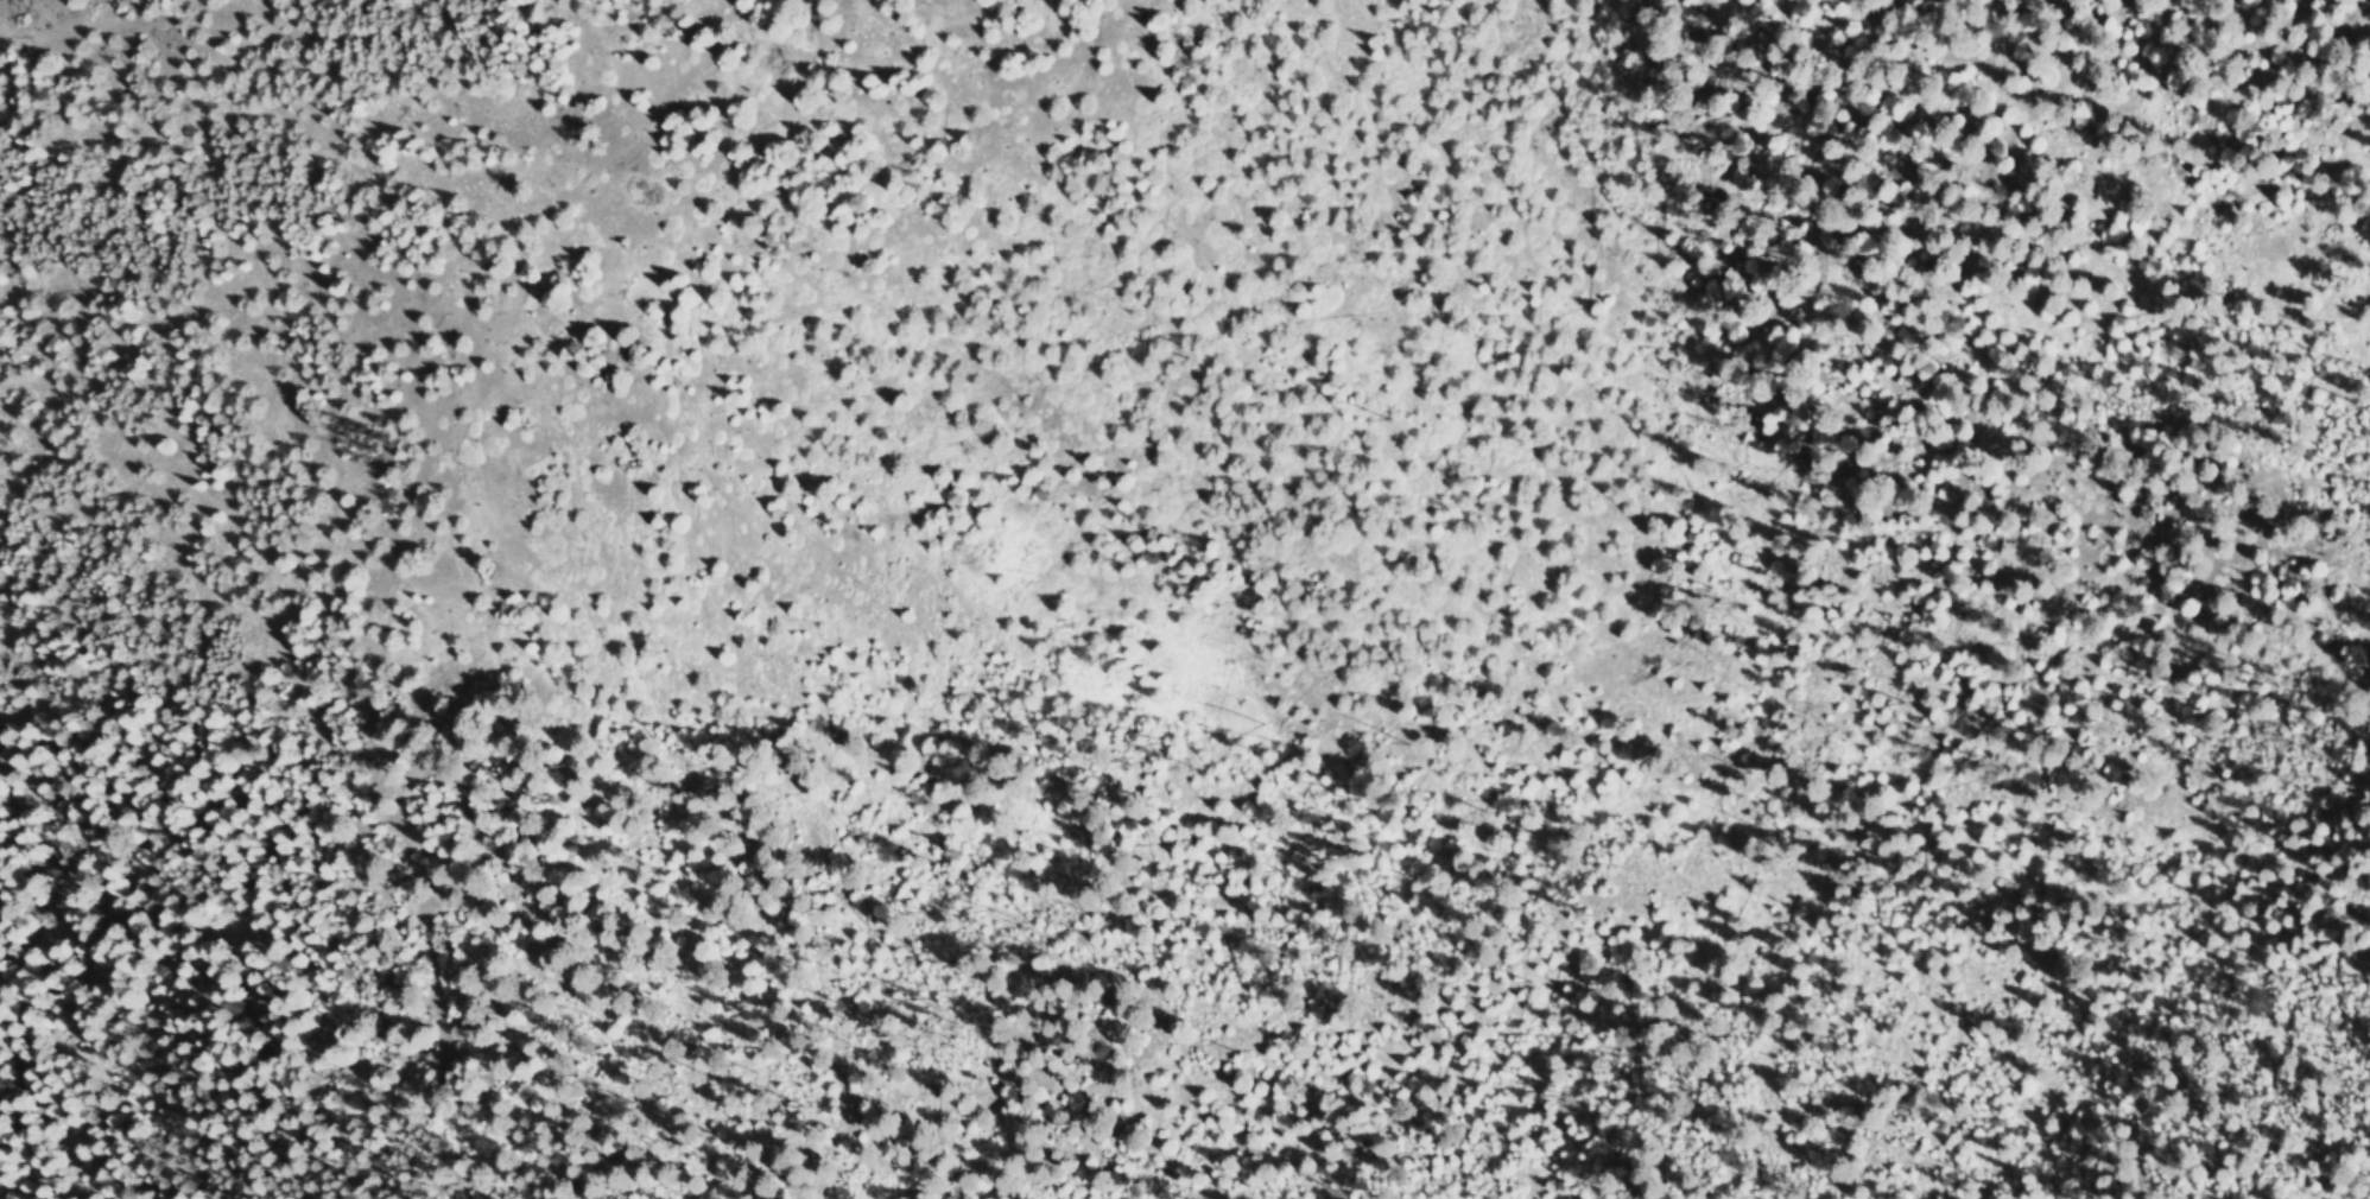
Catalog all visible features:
road: (360, 550)

